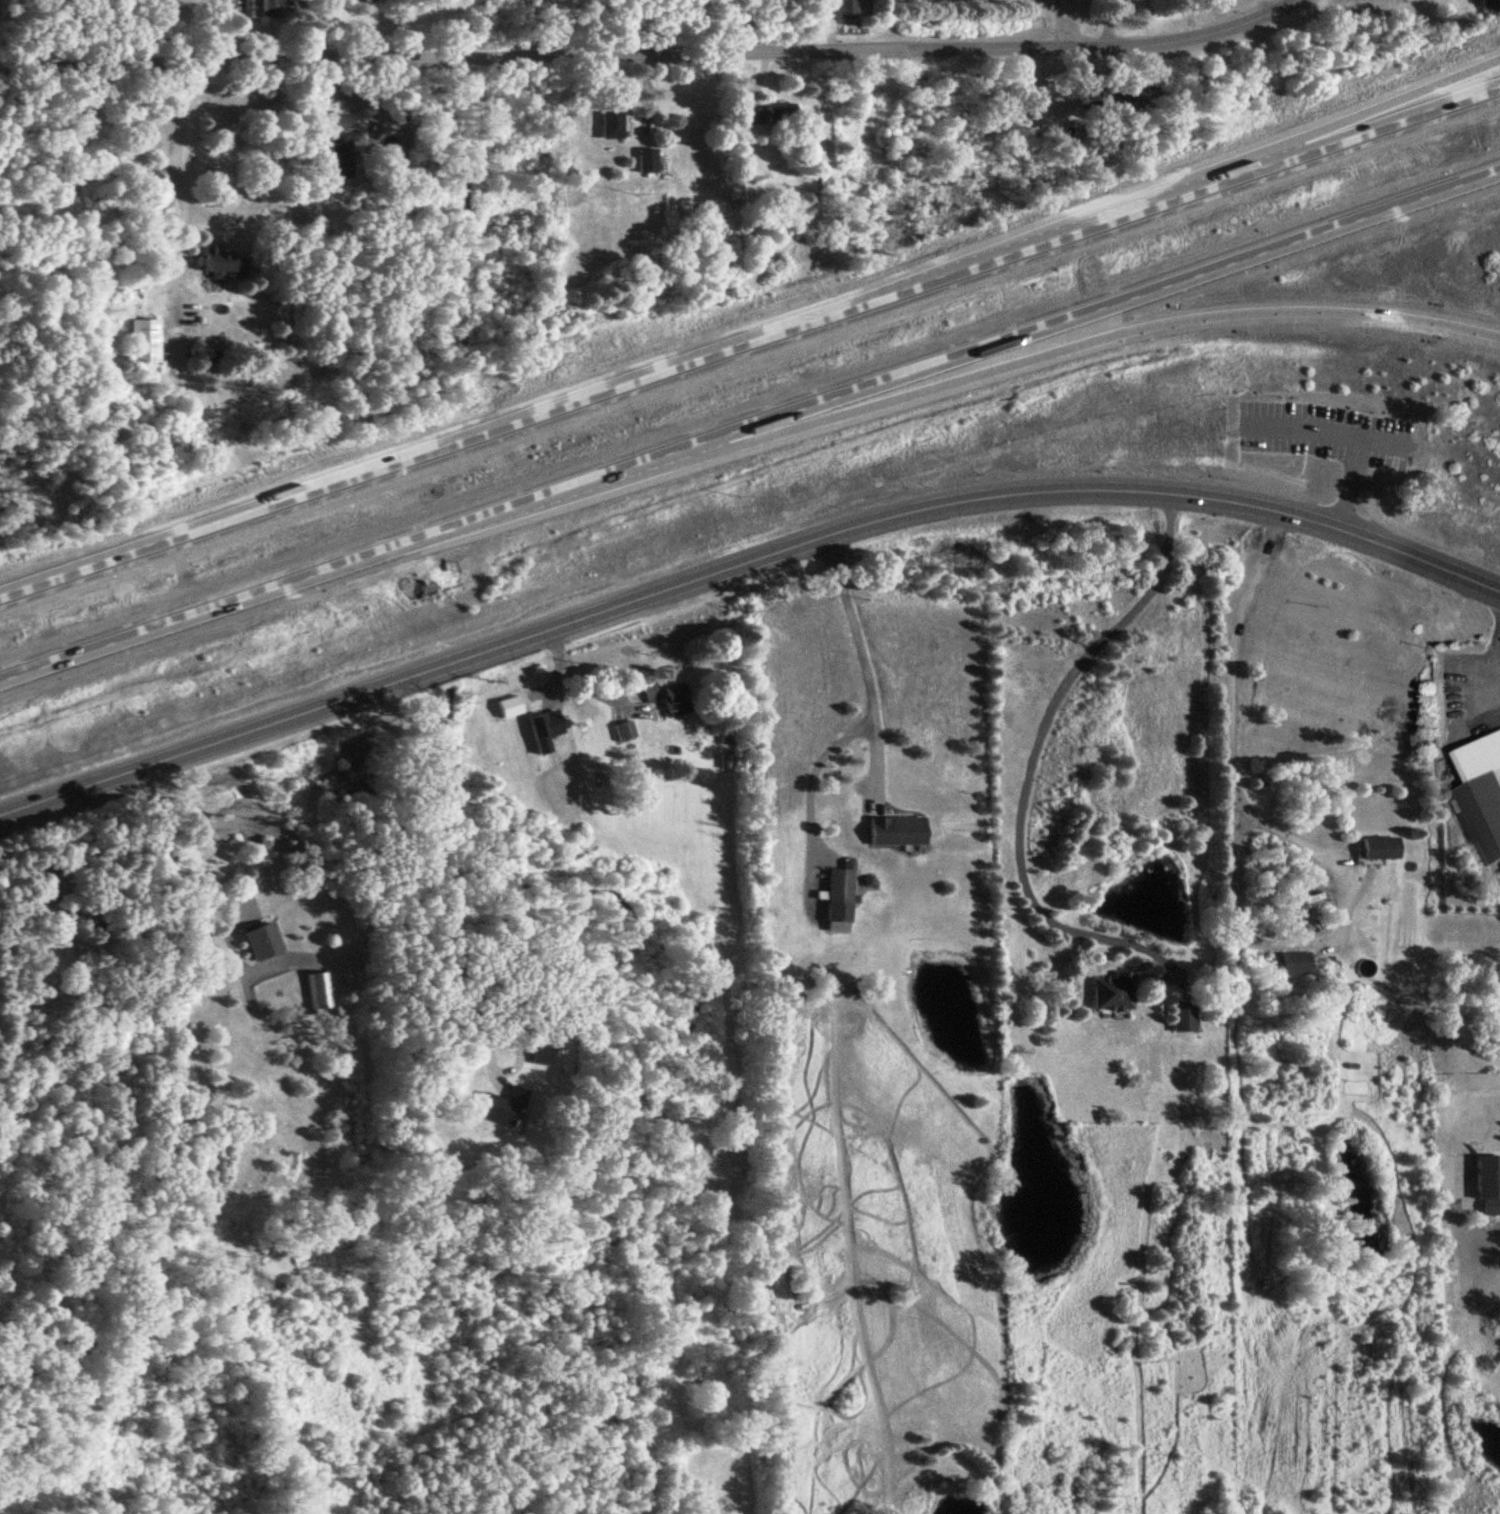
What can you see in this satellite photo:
building: (1487, 3)
building: (266, 7)
building: (843, 8)
road: (1053, 22)
road: (1096, 43)
road: (449, 60)
building: (1086, 97)
building: (778, 113)
building: (752, 114)
building: (609, 121)
building: (336, 143)
building: (645, 159)
road: (1219, 164)
road: (170, 181)
building: (221, 261)
road: (782, 329)
building: (143, 339)
road: (963, 377)
road: (750, 424)
road: (1316, 429)
parking lot: (1321, 434)
road: (1347, 481)
road: (741, 560)
road: (31, 581)
road: (1495, 654)
road: (855, 657)
road: (575, 680)
building: (665, 695)
road: (1228, 701)
building: (542, 728)
building: (622, 729)
road: (1029, 750)
building: (1483, 792)
building: (892, 829)
building: (1378, 846)
road: (187, 858)
building: (835, 896)
road: (416, 925)
building: (259, 940)
building: (1293, 962)
building: (313, 988)
building: (1107, 991)
building: (1181, 1019)
building: (539, 1054)
building: (500, 1106)
building: (1486, 1182)

